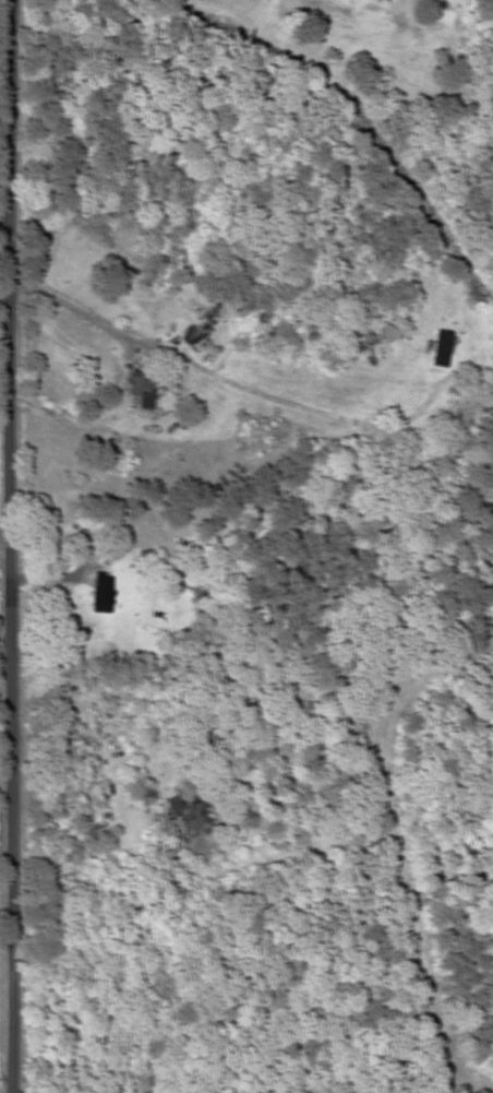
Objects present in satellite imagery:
road: (1, 248)
building: (441, 348)
building: (140, 391)
road: (12, 545)
building: (100, 594)
building: (188, 811)

